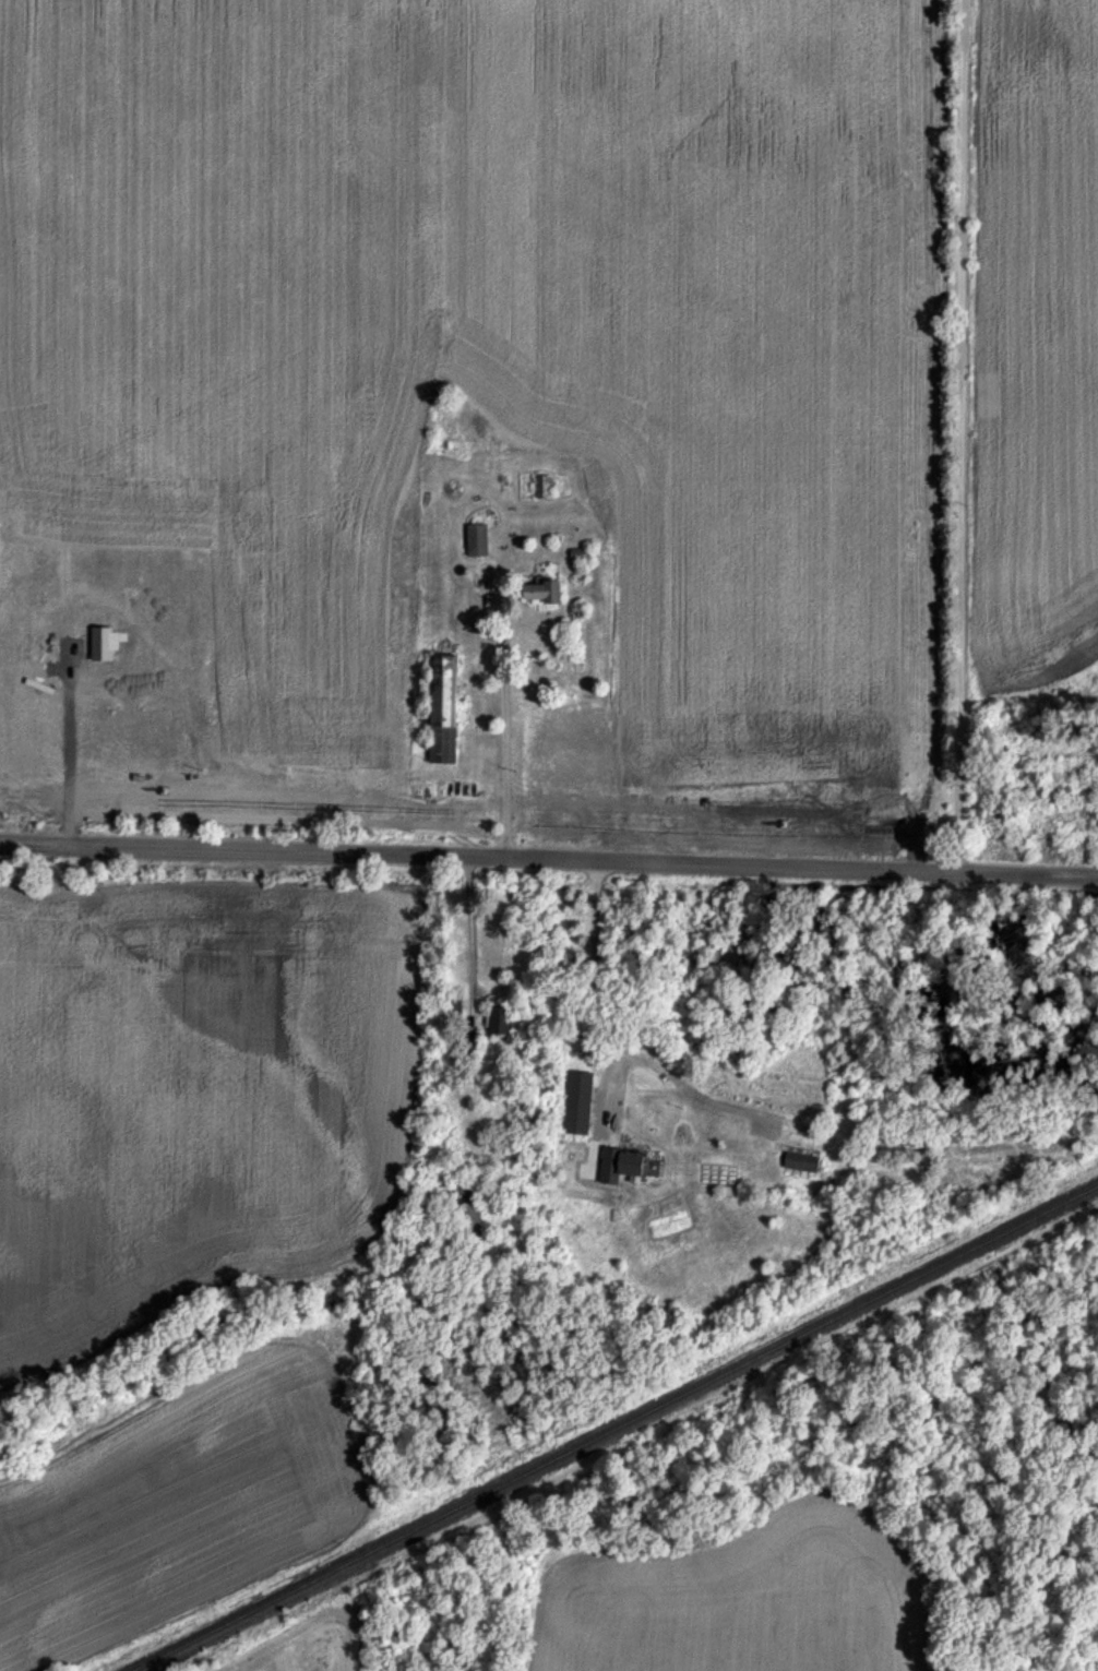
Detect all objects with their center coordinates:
crop: (551, 429)
road: (957, 439)
building: (542, 486)
building: (477, 539)
building: (542, 592)
building: (443, 707)
road: (504, 709)
road: (548, 867)
road: (600, 975)
building: (500, 1019)
building: (577, 1101)
building: (623, 1159)
building: (800, 1161)
building: (468, 1217)
railway: (614, 1428)

